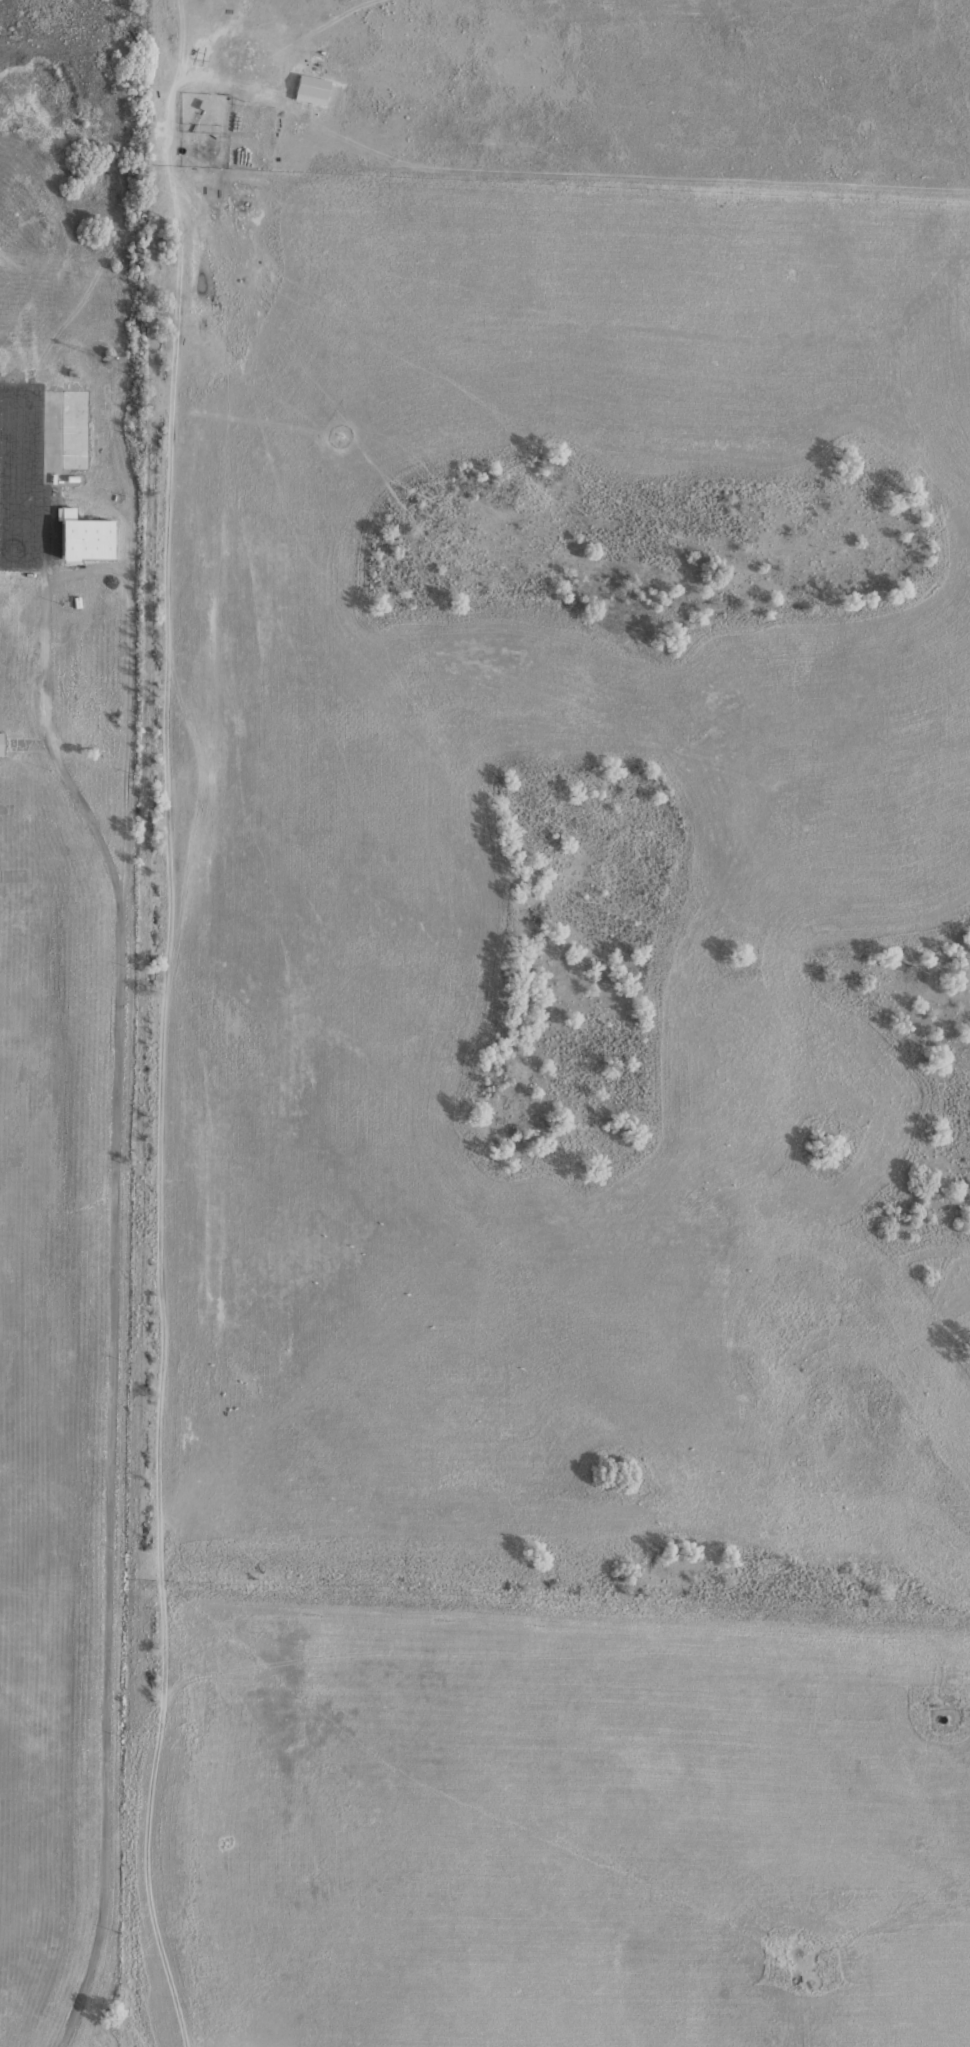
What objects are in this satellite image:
airport hangar: (84, 429)
building: (84, 429)
airport apron: (26, 476)
building: (74, 513)
airport hangar: (97, 537)
building: (97, 537)
road: (89, 574)
airport hangar: (5, 745)
building: (5, 745)
airport: (64, 1000)
road: (113, 1466)

